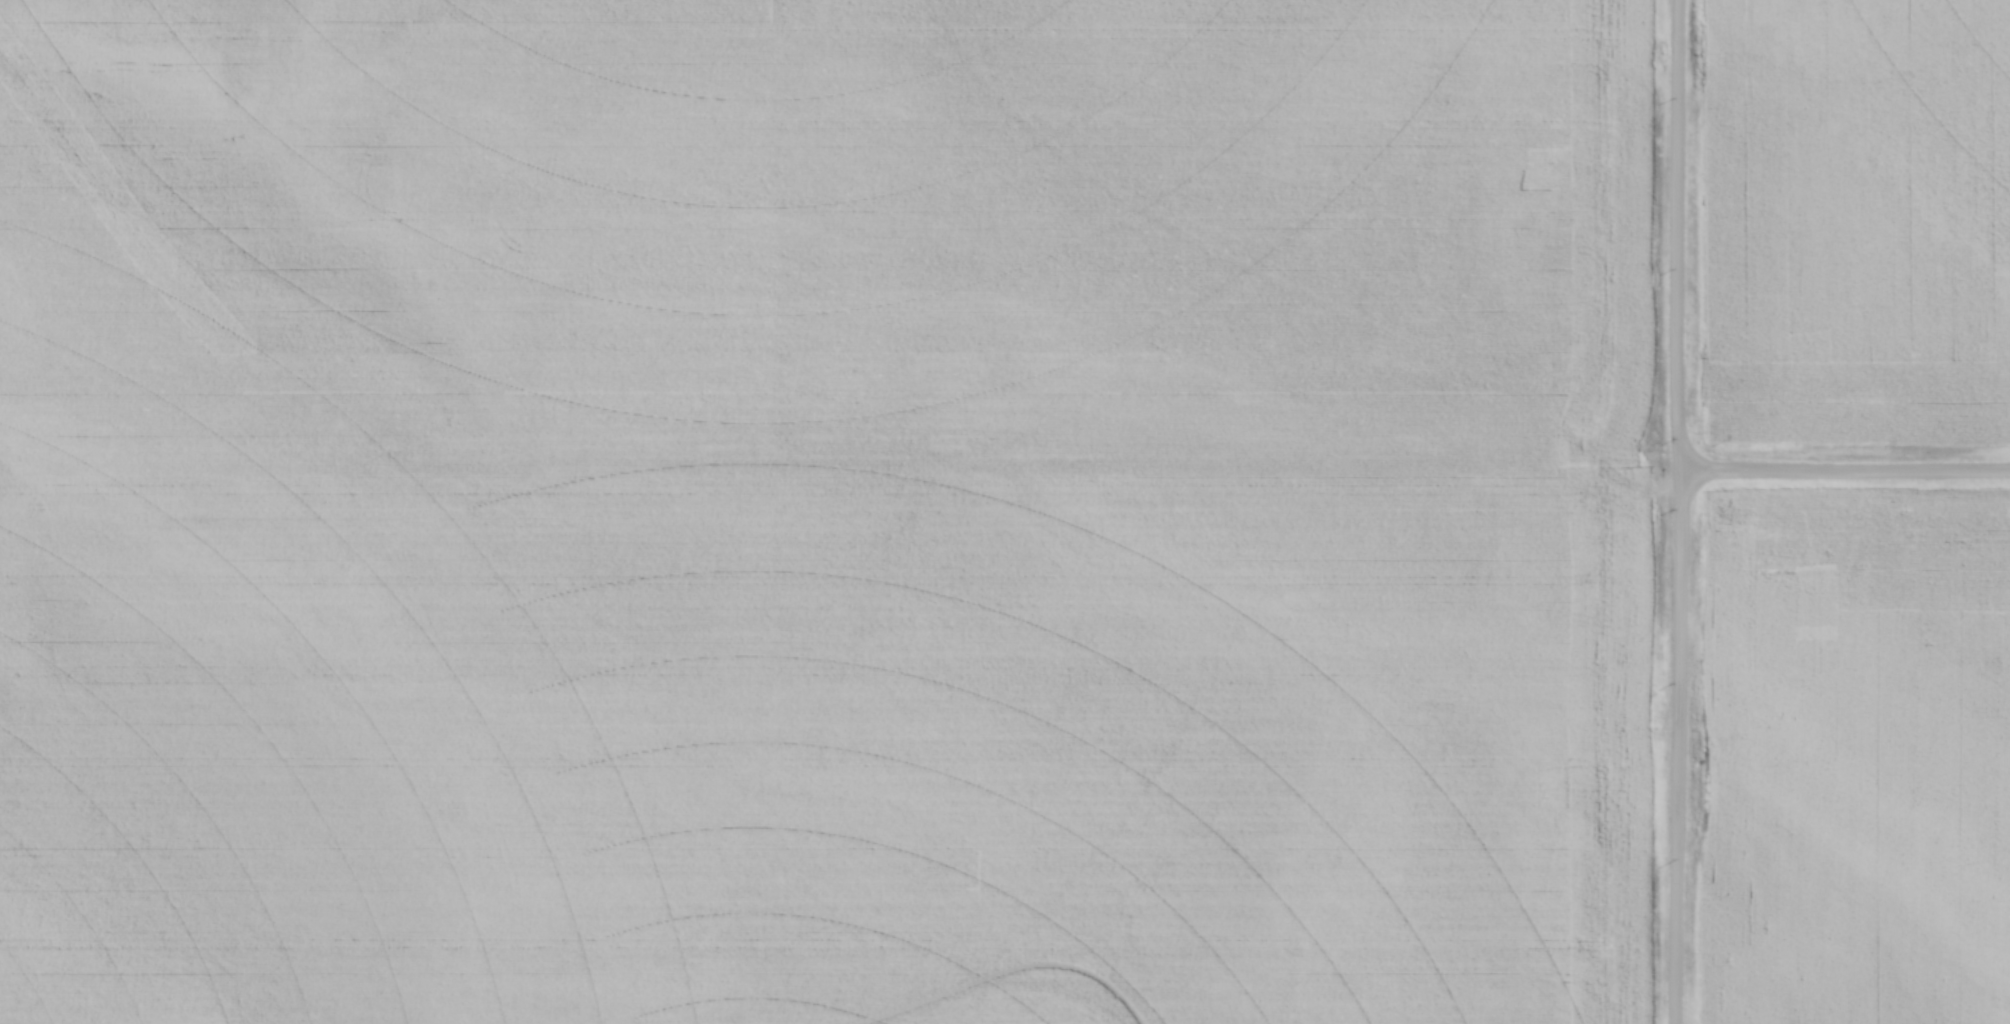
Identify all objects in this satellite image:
road: (1680, 237)
road: (1847, 474)
road: (1679, 748)

